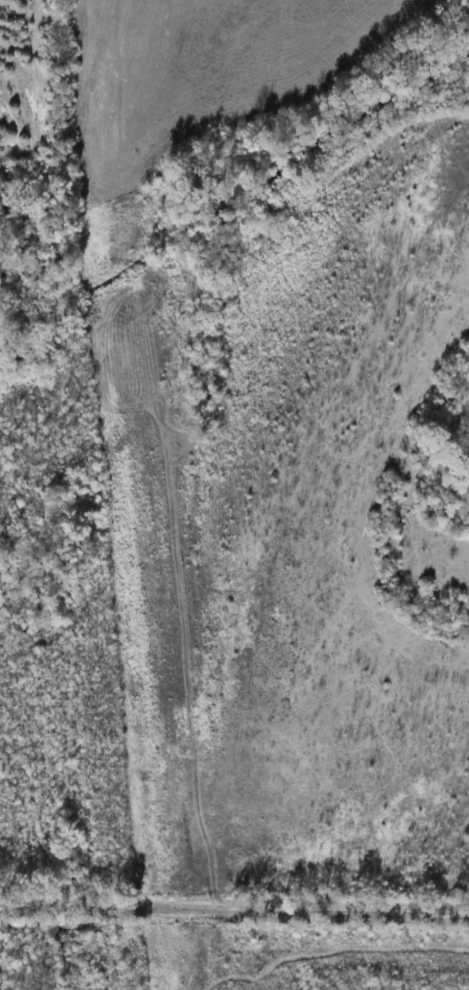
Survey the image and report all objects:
road: (234, 908)

